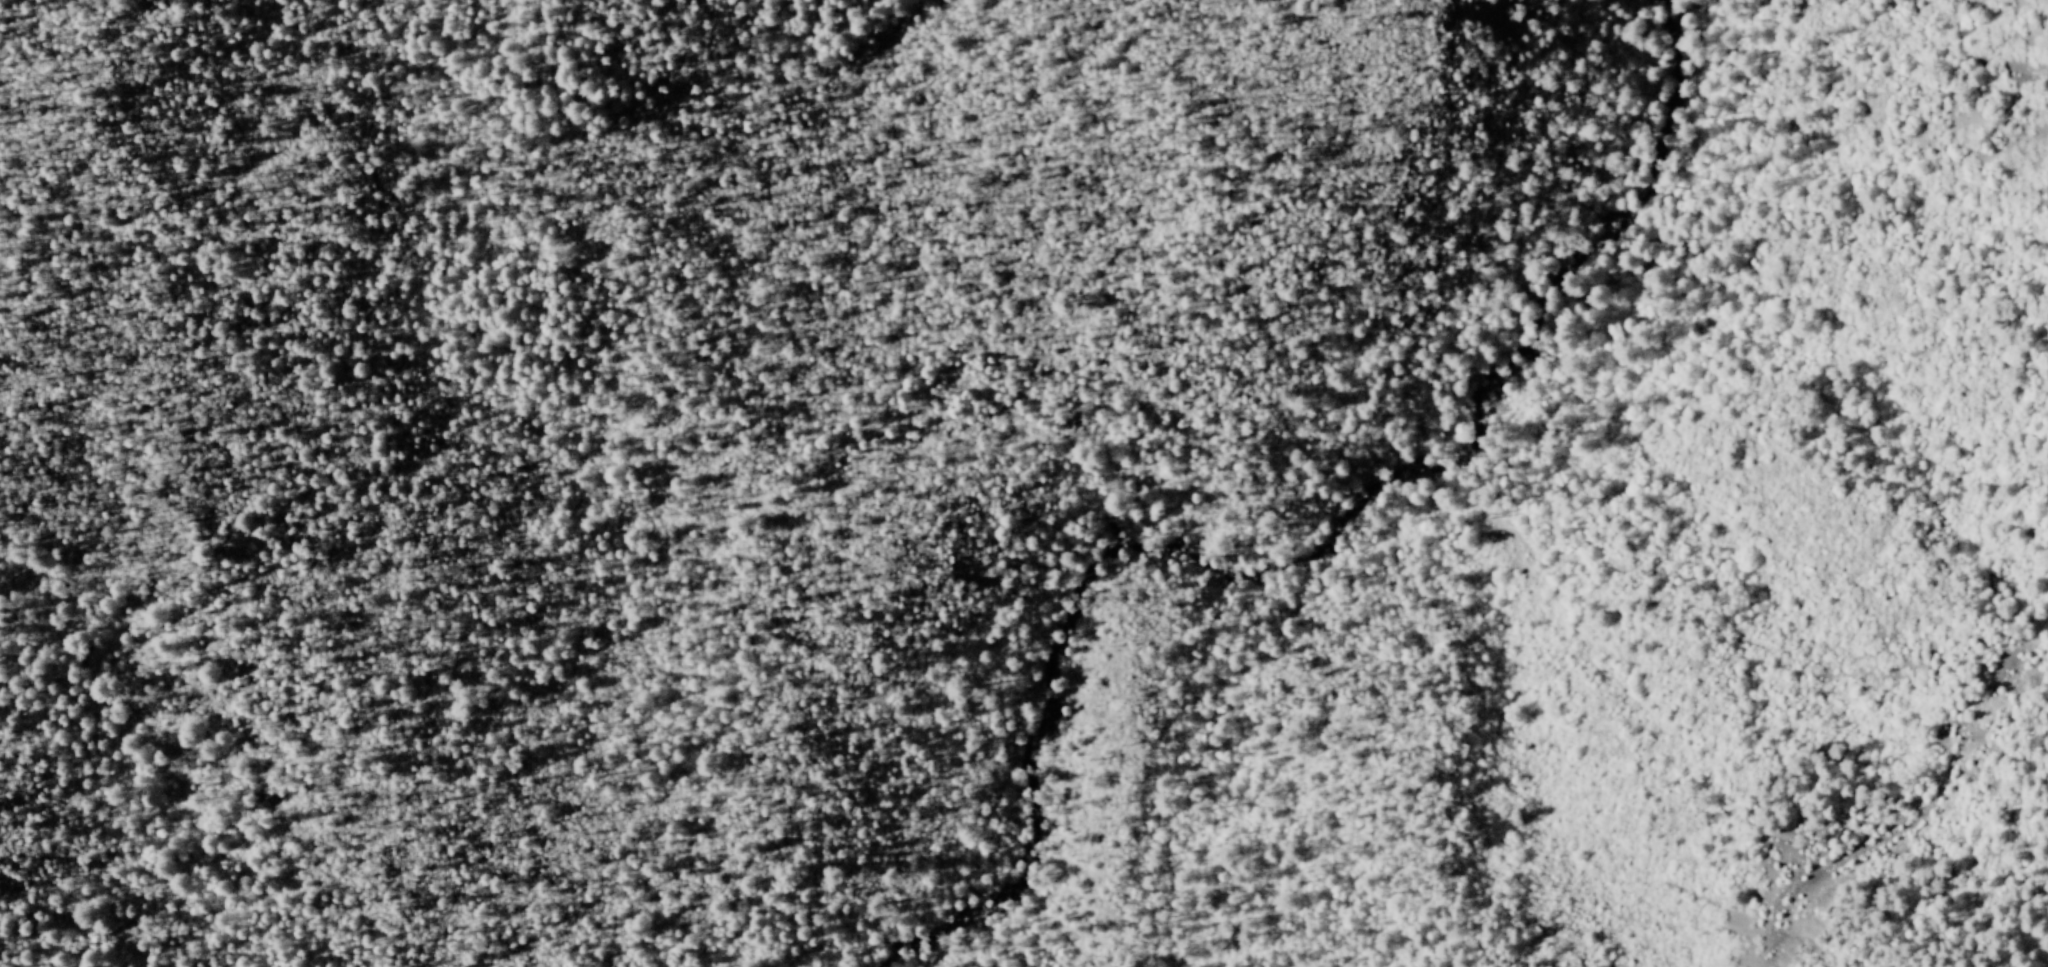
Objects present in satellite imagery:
road: (1936, 801)

